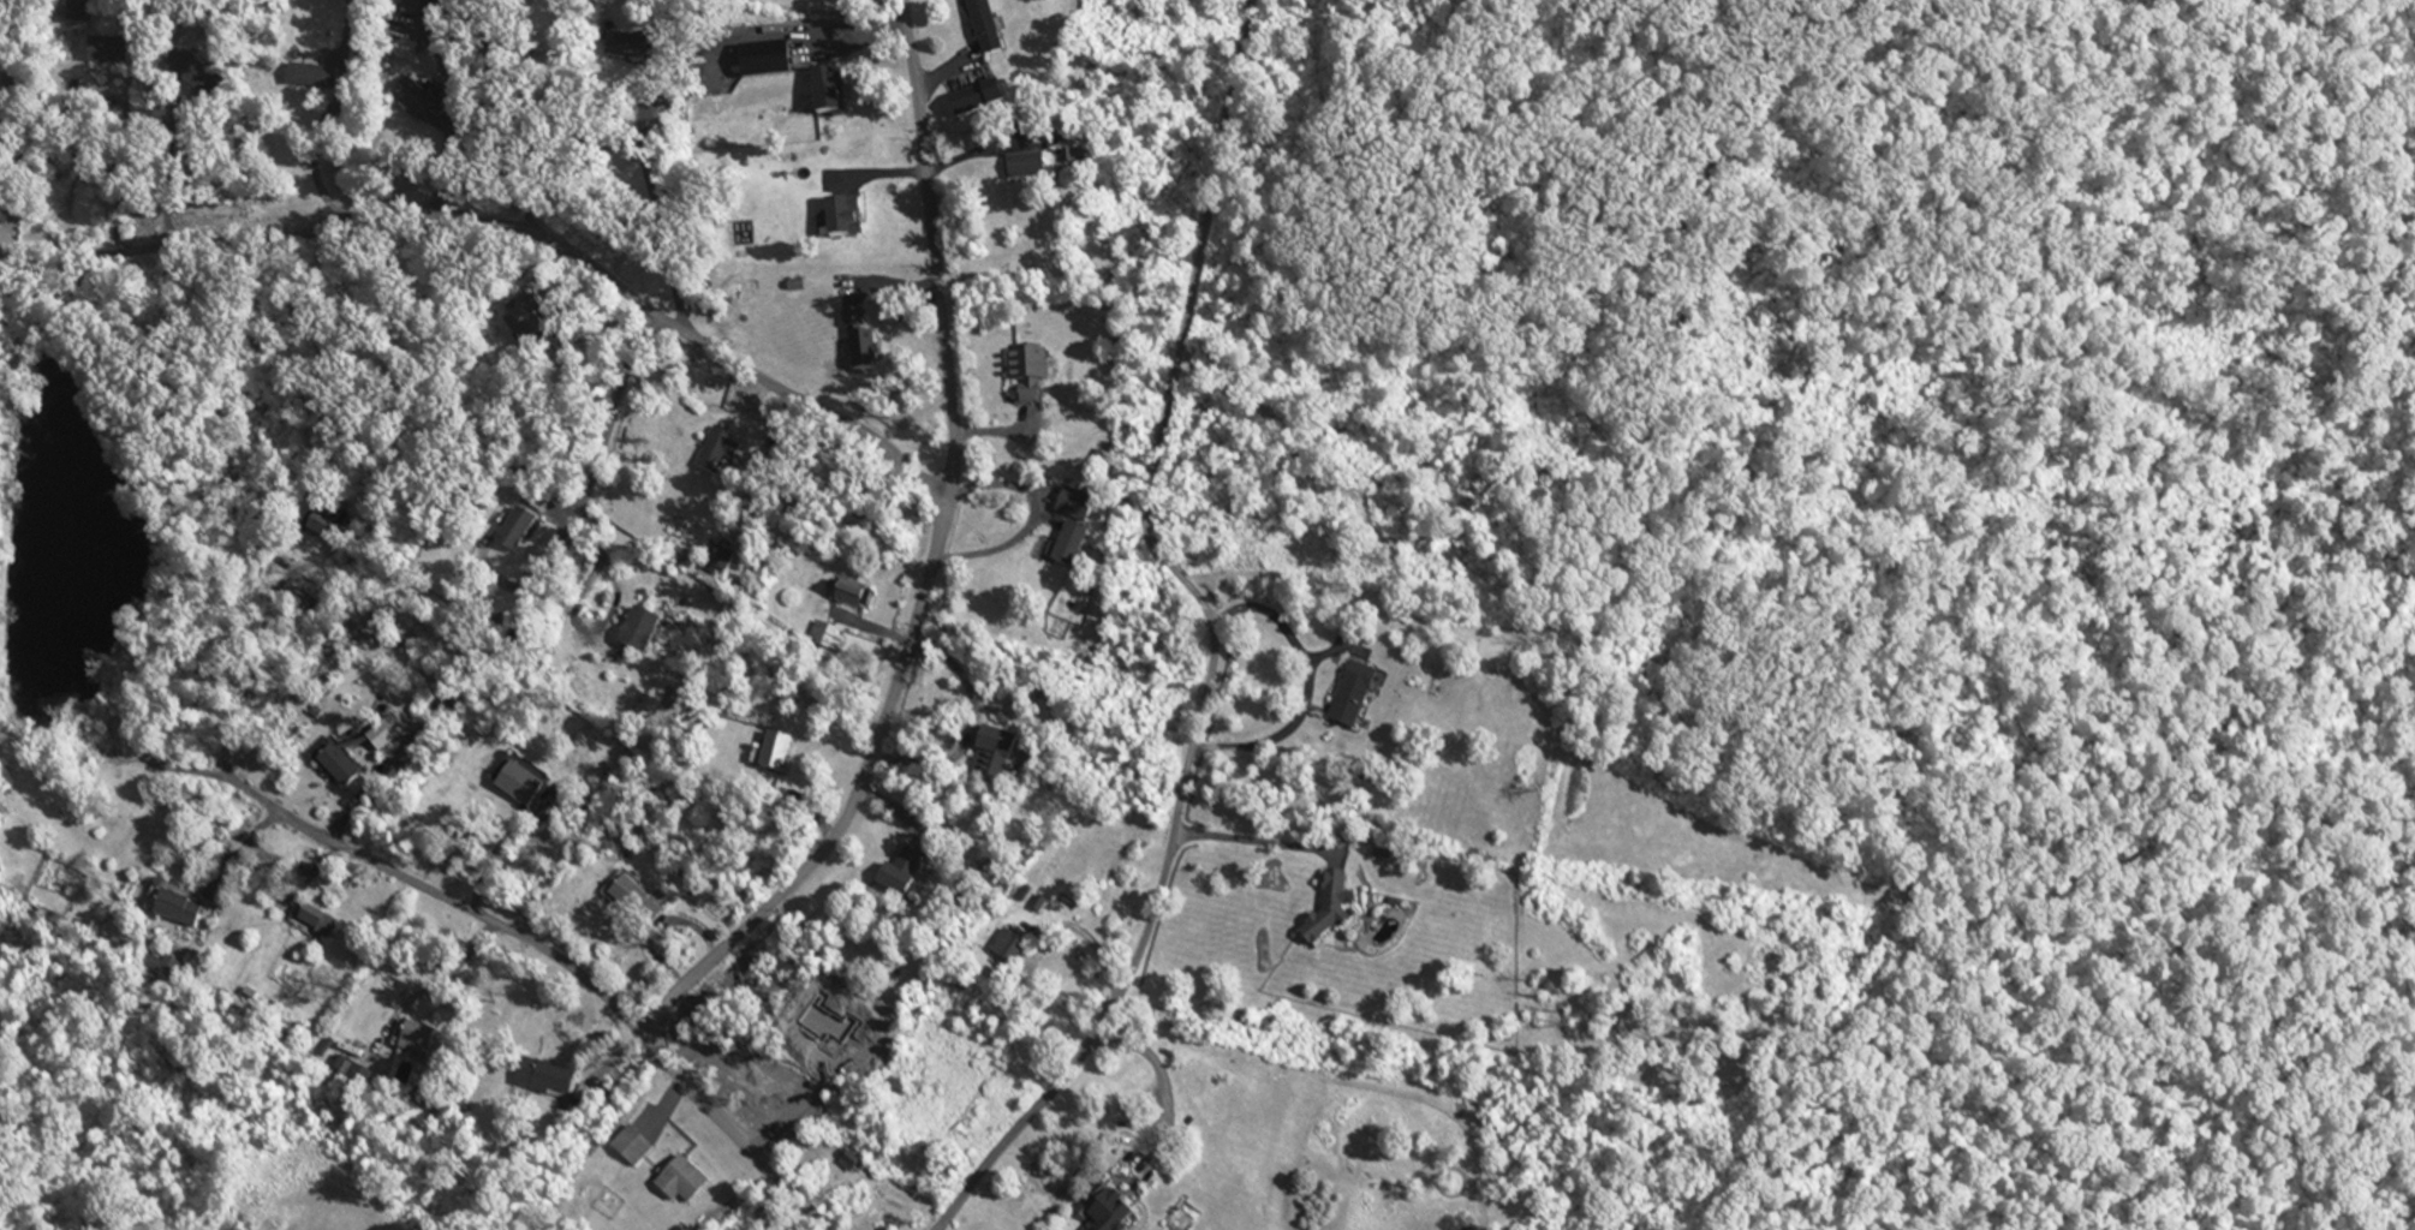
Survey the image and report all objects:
building: (422, 8)
building: (996, 28)
building: (1, 42)
building: (120, 48)
building: (646, 49)
building: (322, 76)
building: (216, 79)
building: (839, 95)
building: (423, 98)
building: (983, 103)
road: (167, 163)
building: (1015, 168)
road: (125, 172)
building: (854, 217)
road: (513, 228)
building: (869, 339)
building: (1039, 374)
road: (603, 442)
building: (727, 450)
building: (1090, 503)
building: (529, 529)
building: (336, 530)
building: (1085, 543)
building: (729, 560)
road: (930, 567)
building: (860, 596)
building: (651, 629)
building: (836, 634)
road: (1210, 638)
road: (1337, 651)
road: (1311, 683)
building: (1365, 693)
building: (786, 752)
building: (1008, 757)
building: (350, 764)
building: (530, 782)
road: (1253, 842)
building: (914, 871)
building: (643, 895)
building: (180, 901)
building: (1346, 910)
building: (329, 922)
road: (1086, 938)
building: (1019, 945)
road: (555, 962)
building: (425, 1038)
building: (556, 1076)
building: (644, 1146)
building: (860, 1163)
building: (694, 1182)
building: (1125, 1208)

